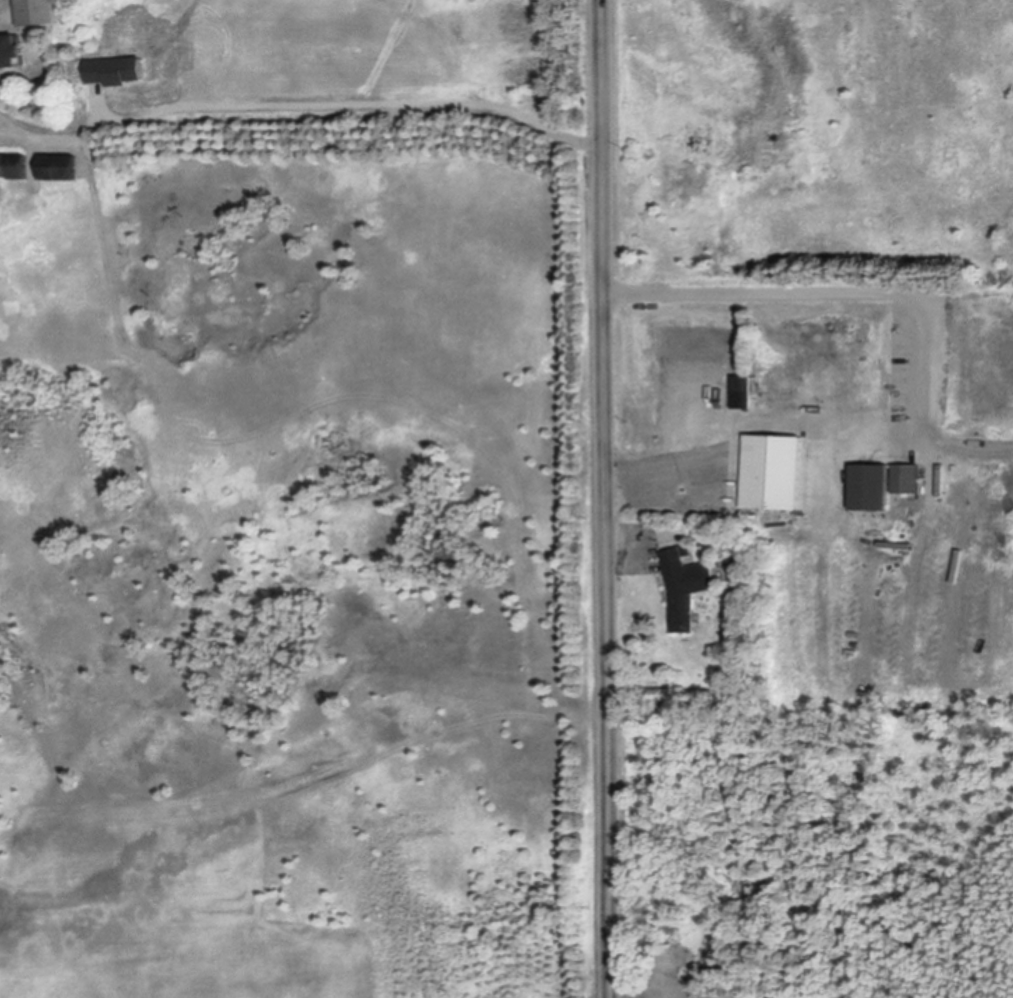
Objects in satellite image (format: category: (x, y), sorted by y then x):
building: (40, 13)
building: (12, 53)
building: (116, 72)
road: (298, 113)
building: (15, 168)
building: (61, 168)
building: (740, 394)
building: (773, 474)
road: (650, 481)
building: (883, 487)
road: (608, 498)
building: (685, 586)

